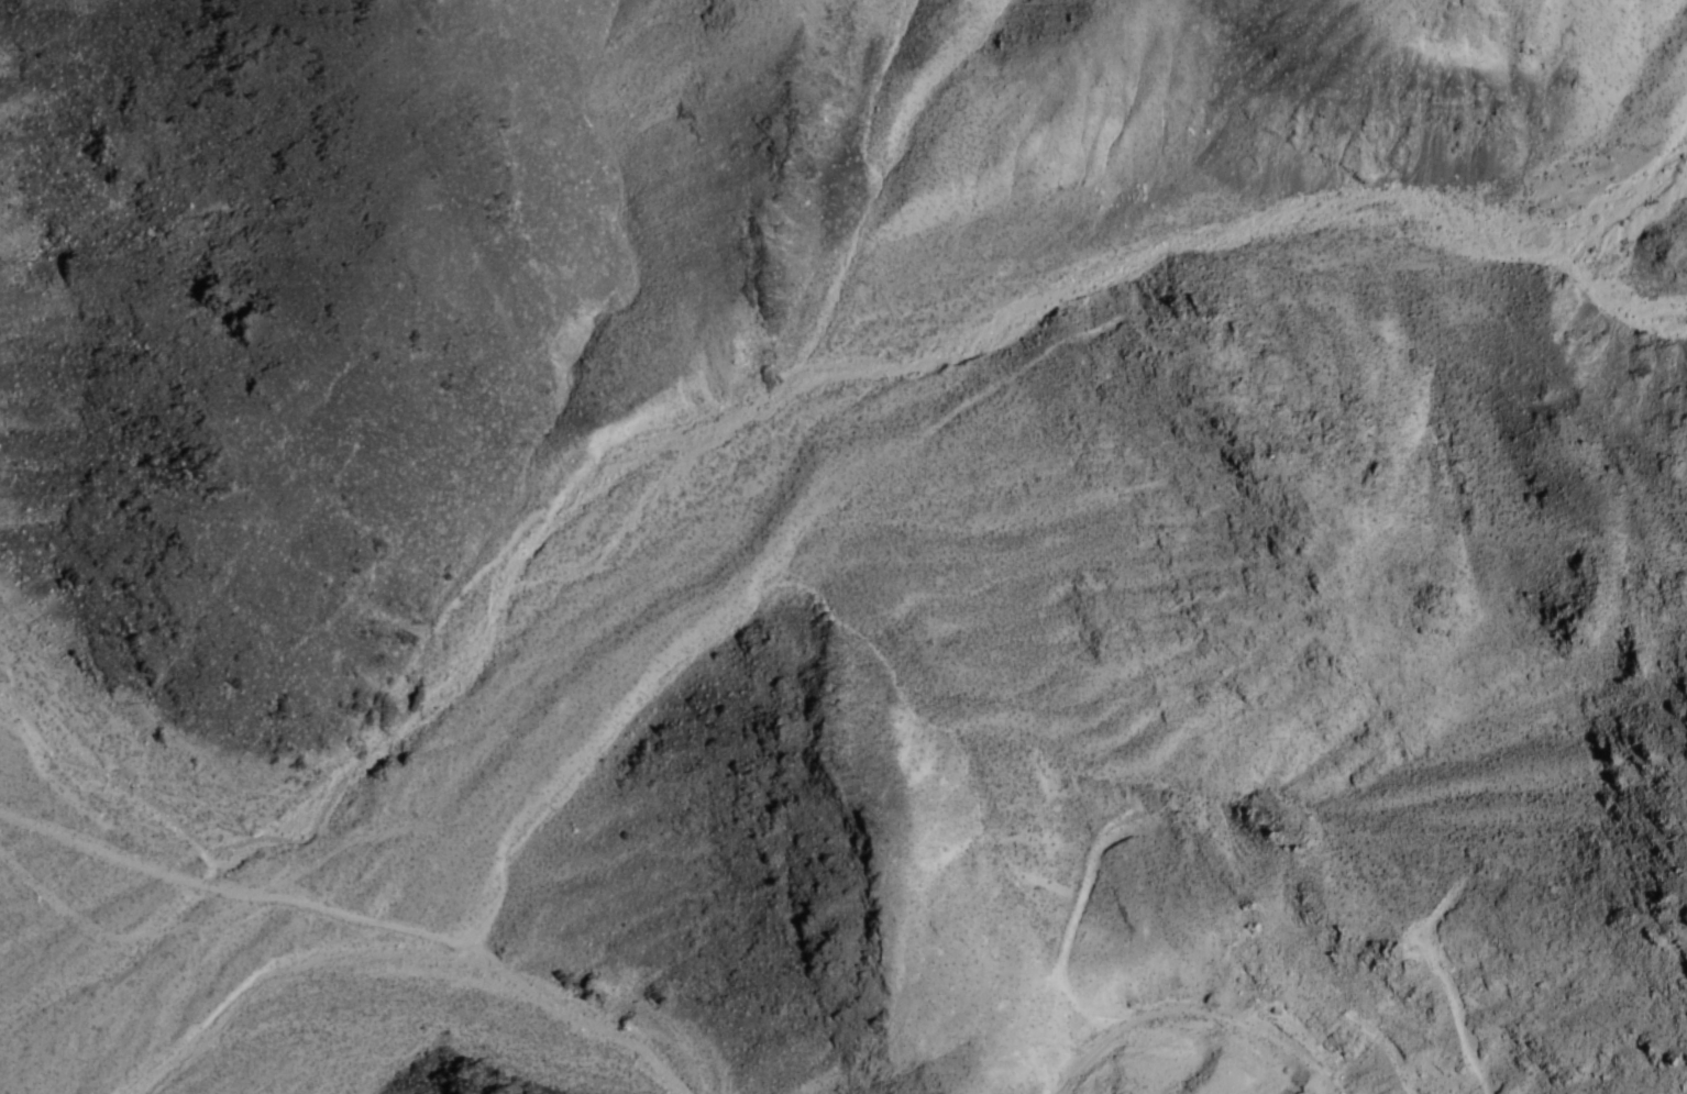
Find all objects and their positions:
road: (130, 863)

